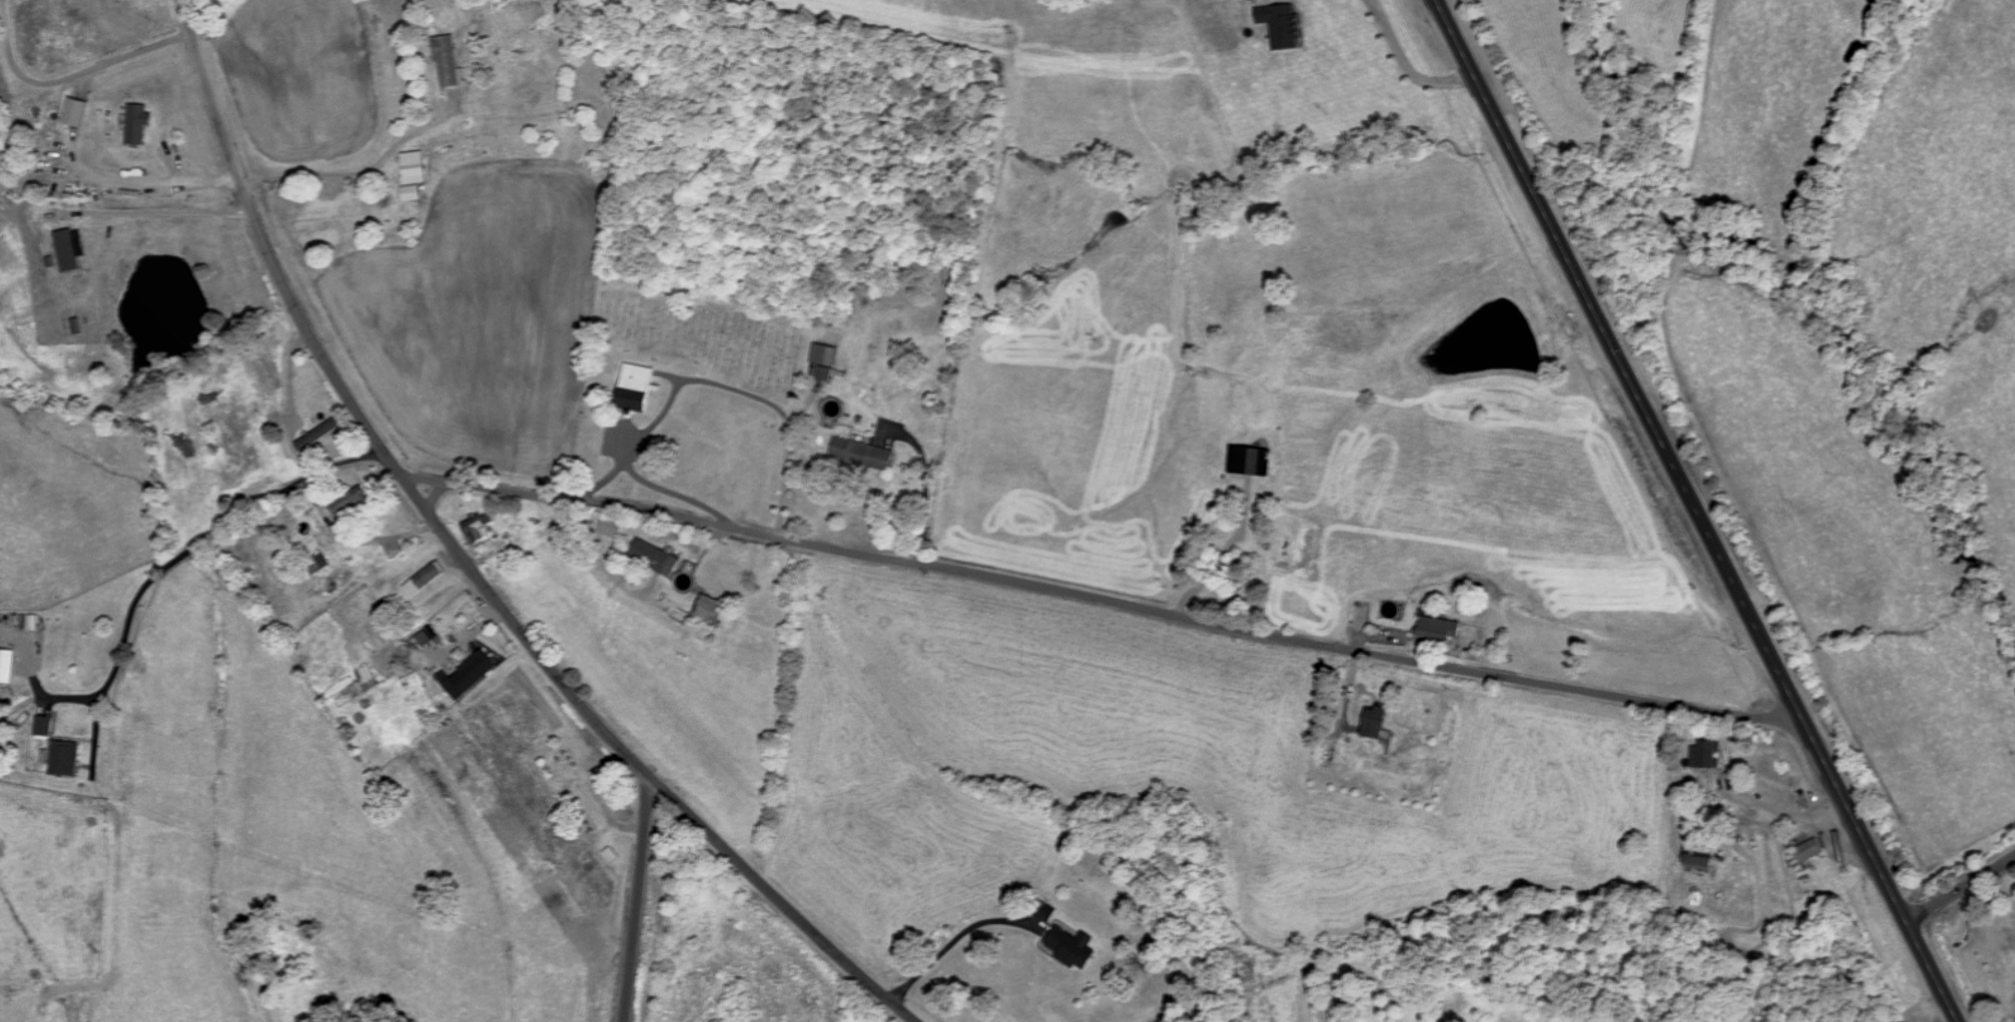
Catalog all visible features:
building: (1278, 25)
building: (443, 59)
road: (1407, 63)
road: (70, 75)
building: (74, 112)
building: (134, 123)
building: (410, 167)
road: (323, 174)
building: (408, 193)
building: (67, 249)
park: (699, 332)
building: (633, 387)
road: (655, 419)
building: (322, 435)
building: (859, 454)
road: (785, 460)
building: (1246, 461)
road: (643, 478)
road: (925, 483)
building: (355, 502)
road: (1696, 511)
building: (617, 525)
building: (480, 527)
road: (185, 548)
road: (595, 552)
building: (659, 556)
building: (323, 564)
road: (469, 566)
road: (1104, 599)
building: (717, 608)
building: (1435, 628)
building: (9, 664)
building: (470, 674)
building: (370, 676)
building: (1370, 721)
building: (46, 725)
building: (1702, 753)
building: (69, 757)
building: (1805, 849)
road: (1960, 888)
road: (637, 898)
building: (1068, 946)

